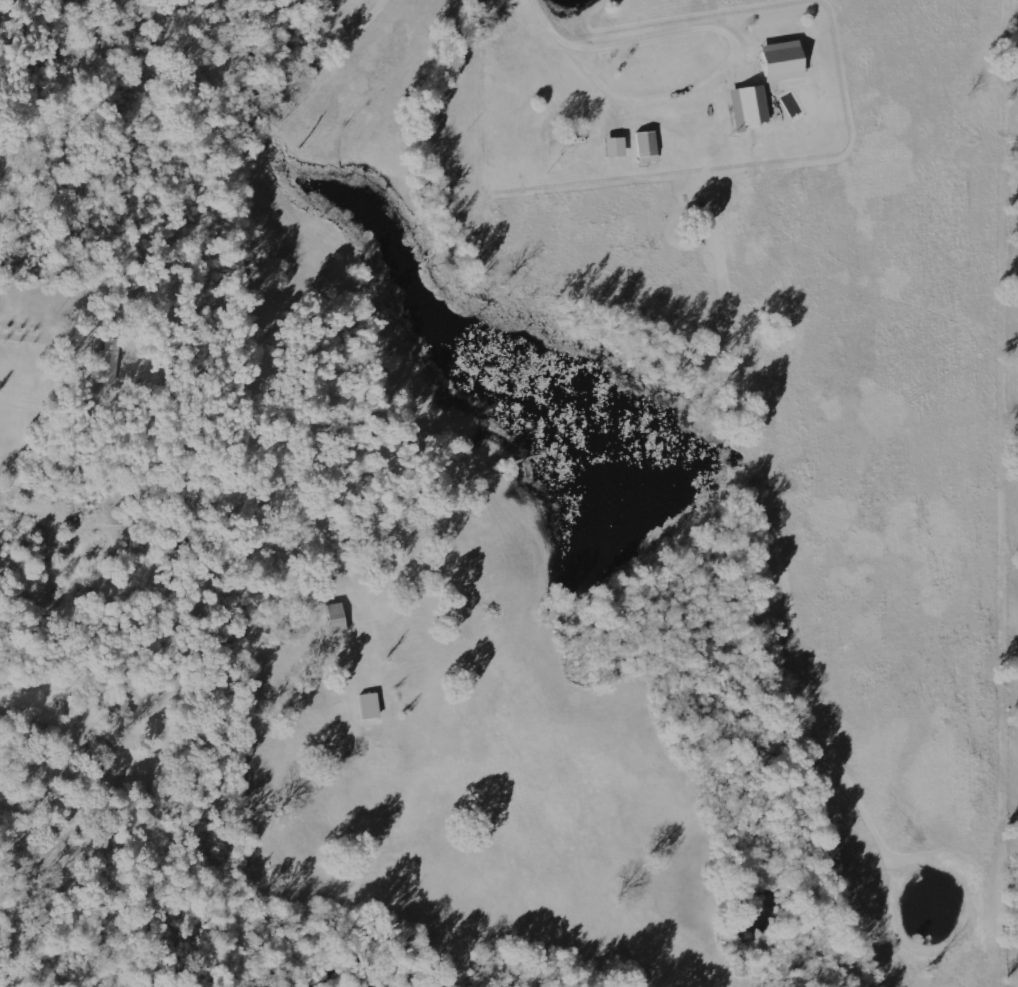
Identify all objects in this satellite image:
building: (784, 60)
building: (749, 106)
road: (15, 129)
building: (616, 146)
building: (647, 146)
building: (337, 617)
building: (370, 705)
building: (113, 706)

